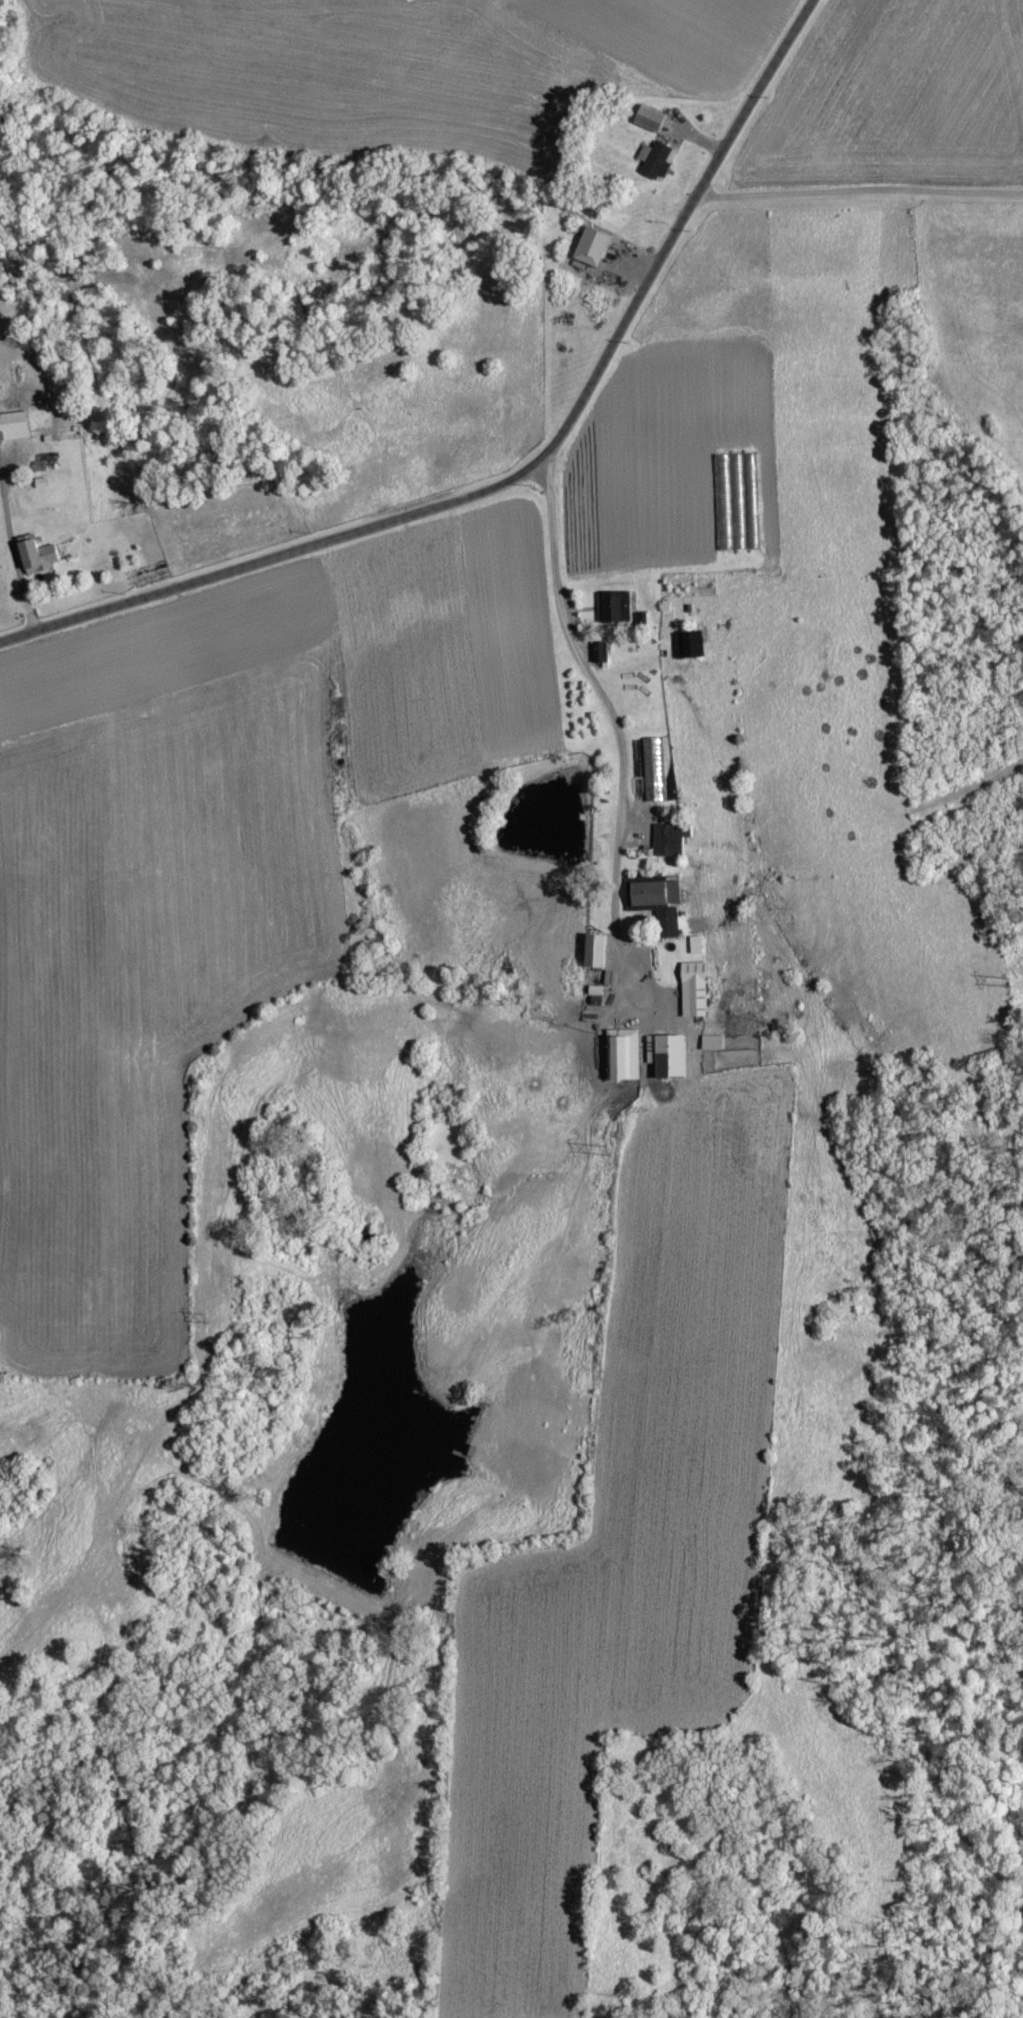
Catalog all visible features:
building: (656, 162)
road: (858, 193)
building: (596, 248)
building: (16, 428)
road: (526, 471)
building: (739, 503)
building: (40, 557)
road: (14, 558)
building: (616, 608)
building: (690, 647)
building: (598, 654)
road: (614, 718)
building: (656, 770)
building: (671, 843)
building: (673, 920)
building: (696, 946)
building: (600, 953)
building: (698, 990)
building: (624, 1057)
building: (670, 1058)
power tower: (618, 1149)
power tower: (214, 1320)

